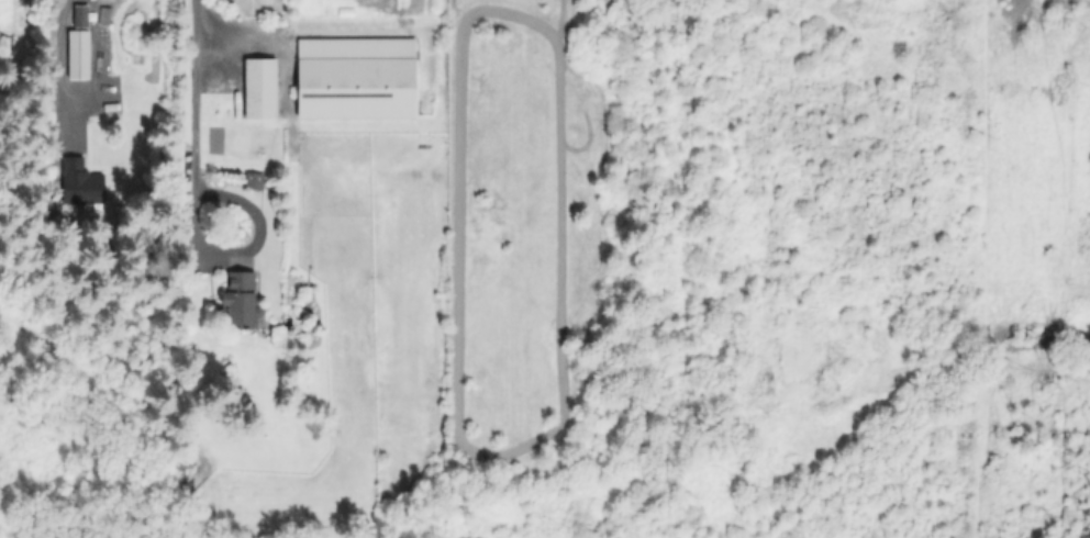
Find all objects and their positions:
building: (78, 15)
building: (76, 53)
building: (356, 79)
building: (262, 89)
road: (196, 144)
building: (78, 181)
building: (255, 182)
building: (242, 302)

